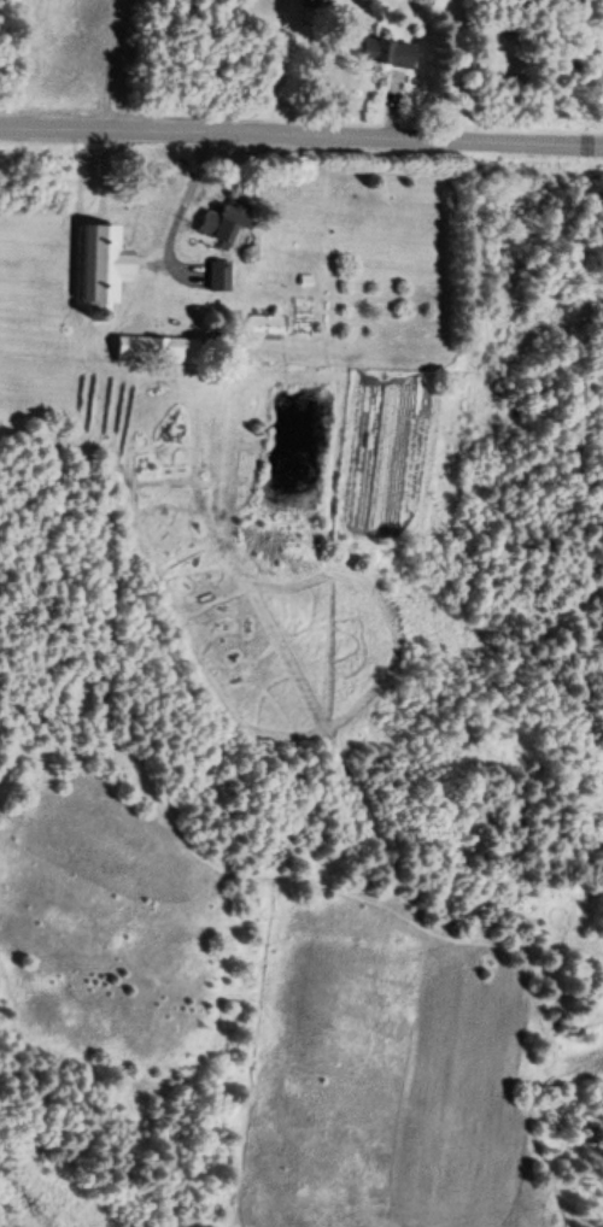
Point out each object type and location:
building: (312, 4)
building: (380, 53)
road: (301, 134)
building: (222, 222)
building: (101, 262)
building: (216, 275)
building: (264, 323)
building: (154, 348)

